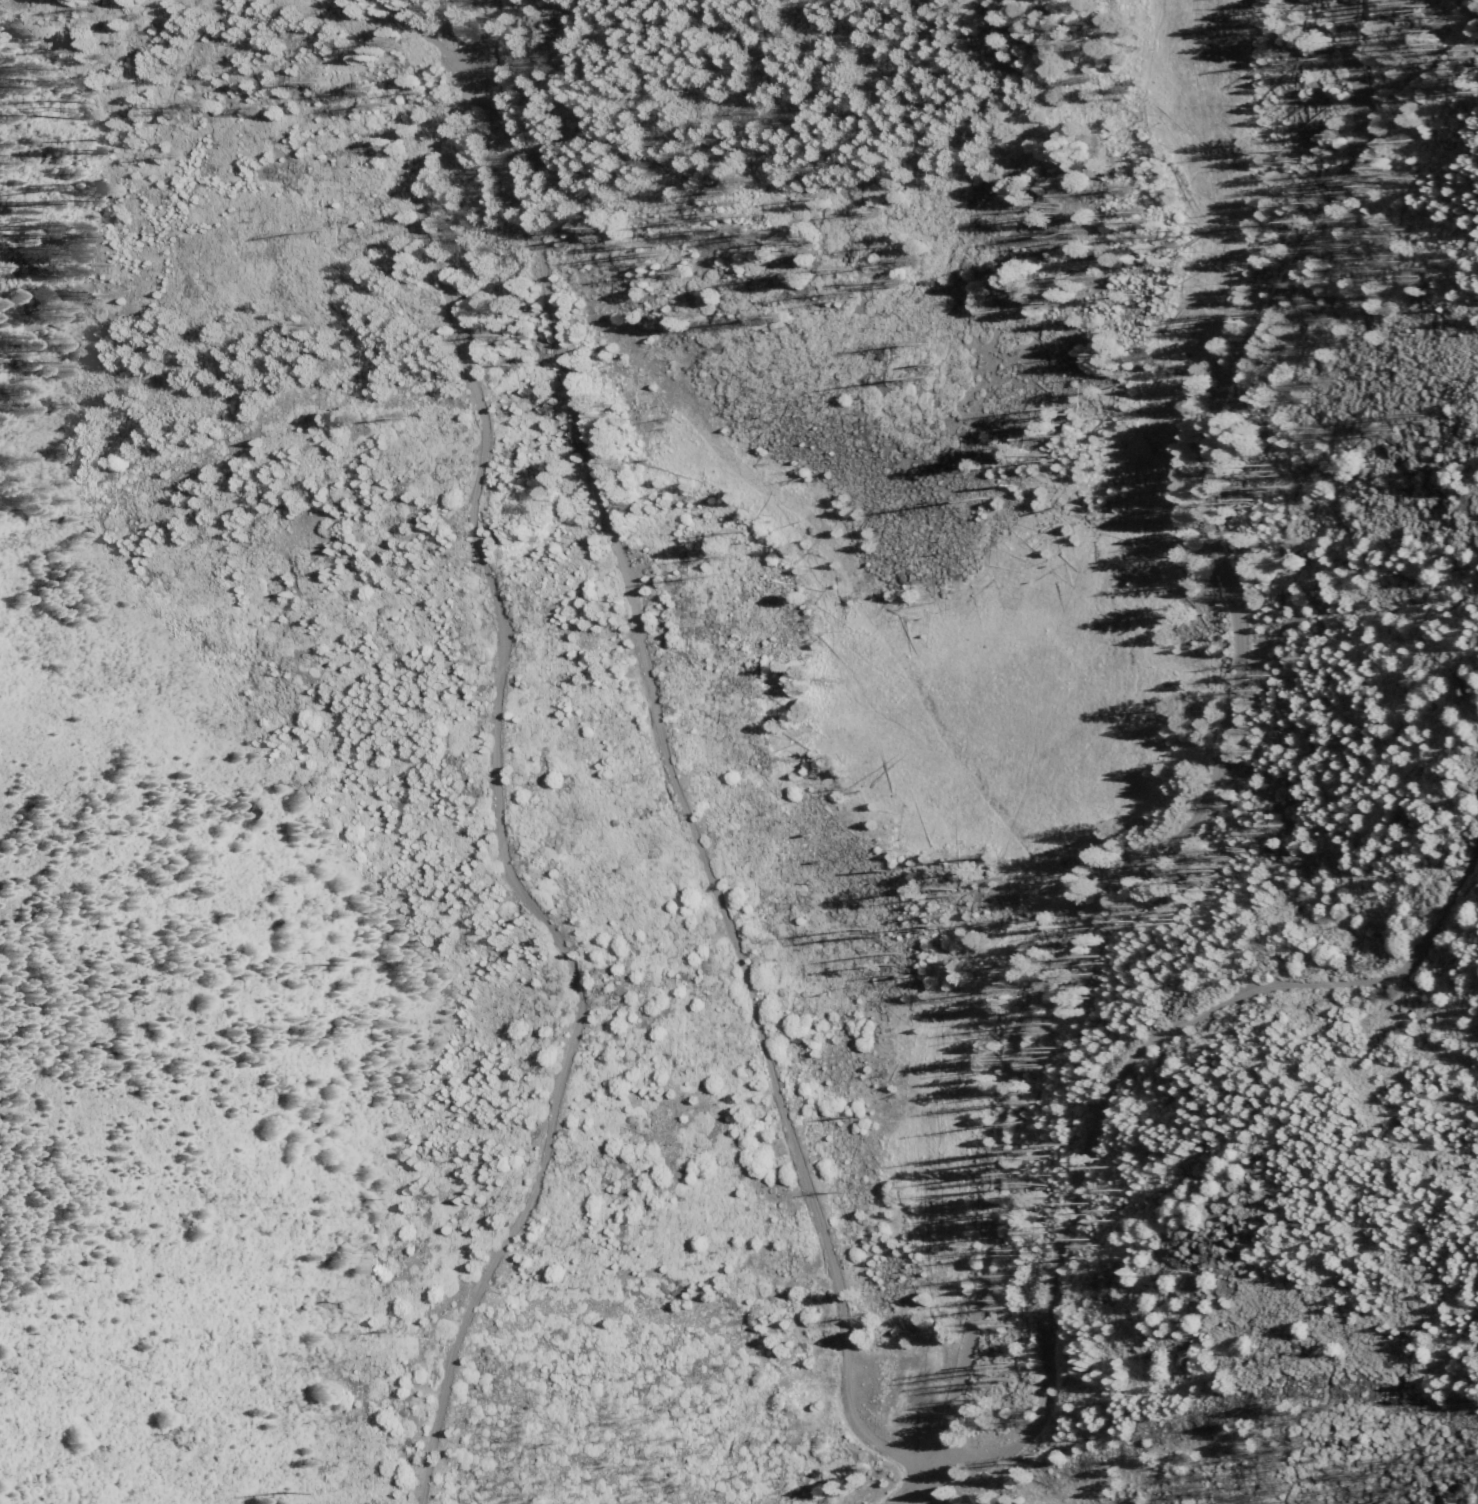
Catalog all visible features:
road: (429, 45)
road: (1215, 777)
road: (679, 798)
road: (490, 803)
road: (1100, 1073)

